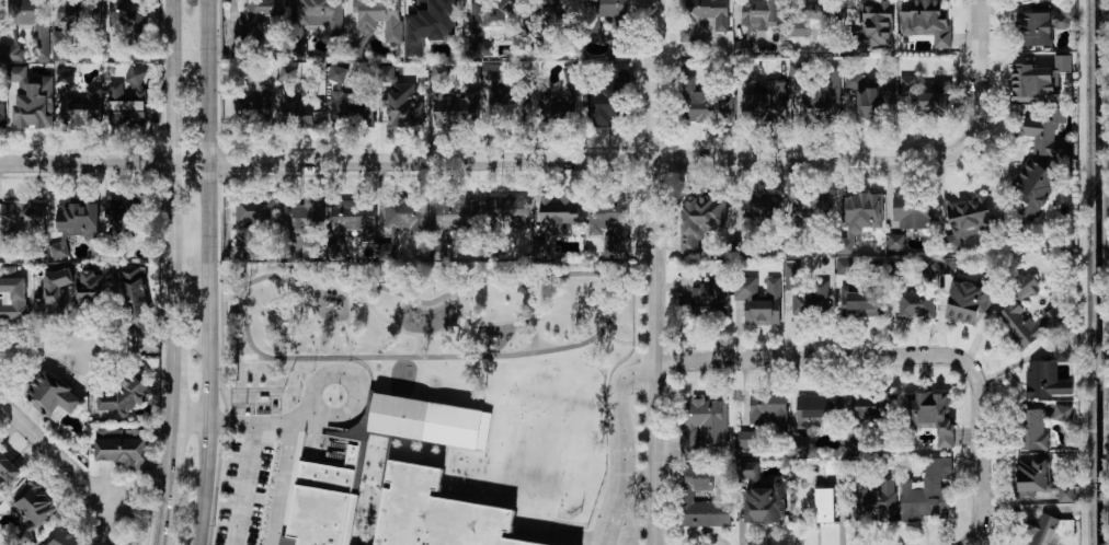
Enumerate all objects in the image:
building: (551, 11)
building: (128, 13)
building: (762, 13)
building: (262, 15)
building: (599, 15)
building: (704, 15)
building: (811, 15)
building: (1065, 15)
building: (495, 16)
building: (379, 18)
building: (316, 20)
building: (33, 22)
building: (927, 22)
building: (73, 23)
building: (430, 24)
road: (980, 28)
building: (1036, 30)
building: (743, 47)
building: (354, 50)
building: (12, 53)
building: (797, 70)
building: (743, 71)
building: (287, 72)
building: (441, 72)
building: (386, 73)
building: (340, 74)
building: (64, 77)
building: (1038, 79)
building: (927, 95)
building: (824, 96)
building: (870, 97)
building: (561, 98)
building: (607, 98)
building: (32, 100)
building: (130, 100)
building: (507, 101)
building: (765, 102)
building: (704, 104)
building: (345, 105)
building: (253, 106)
building: (404, 106)
building: (457, 107)
building: (1, 108)
building: (80, 112)
building: (304, 113)
building: (1047, 134)
road: (530, 161)
road: (174, 172)
building: (1033, 188)
building: (865, 201)
building: (811, 205)
building: (507, 209)
building: (912, 210)
building: (757, 211)
building: (558, 213)
building: (352, 216)
building: (455, 216)
building: (21, 217)
building: (252, 217)
building: (305, 217)
building: (403, 217)
building: (611, 218)
building: (124, 219)
building: (700, 219)
building: (968, 219)
building: (75, 224)
building: (895, 241)
building: (947, 265)
building: (844, 266)
road: (655, 271)
road: (207, 272)
building: (95, 286)
building: (1026, 287)
building: (52, 292)
building: (710, 292)
building: (805, 292)
building: (12, 293)
building: (919, 297)
building: (761, 300)
building: (861, 300)
building: (135, 301)
building: (967, 302)
building: (1029, 323)
road: (46, 349)
road: (864, 357)
road: (609, 363)
building: (1048, 375)
road: (175, 381)
building: (123, 395)
building: (52, 396)
building: (844, 407)
building: (768, 409)
building: (1062, 413)
building: (930, 414)
road: (238, 421)
building: (430, 421)
building: (702, 425)
building: (1032, 430)
building: (745, 439)
building: (123, 448)
building: (799, 448)
road: (628, 449)
road: (54, 453)
road: (582, 453)
building: (7, 471)
building: (1031, 477)
road: (171, 480)
road: (240, 484)
road: (290, 487)
parking lot: (260, 489)
building: (405, 490)
building: (927, 492)
building: (1066, 494)
building: (761, 495)
building: (686, 496)
building: (877, 500)
building: (34, 503)
building: (322, 505)
building: (824, 505)
road: (982, 505)
road: (261, 515)
building: (1051, 531)
building: (64, 537)

